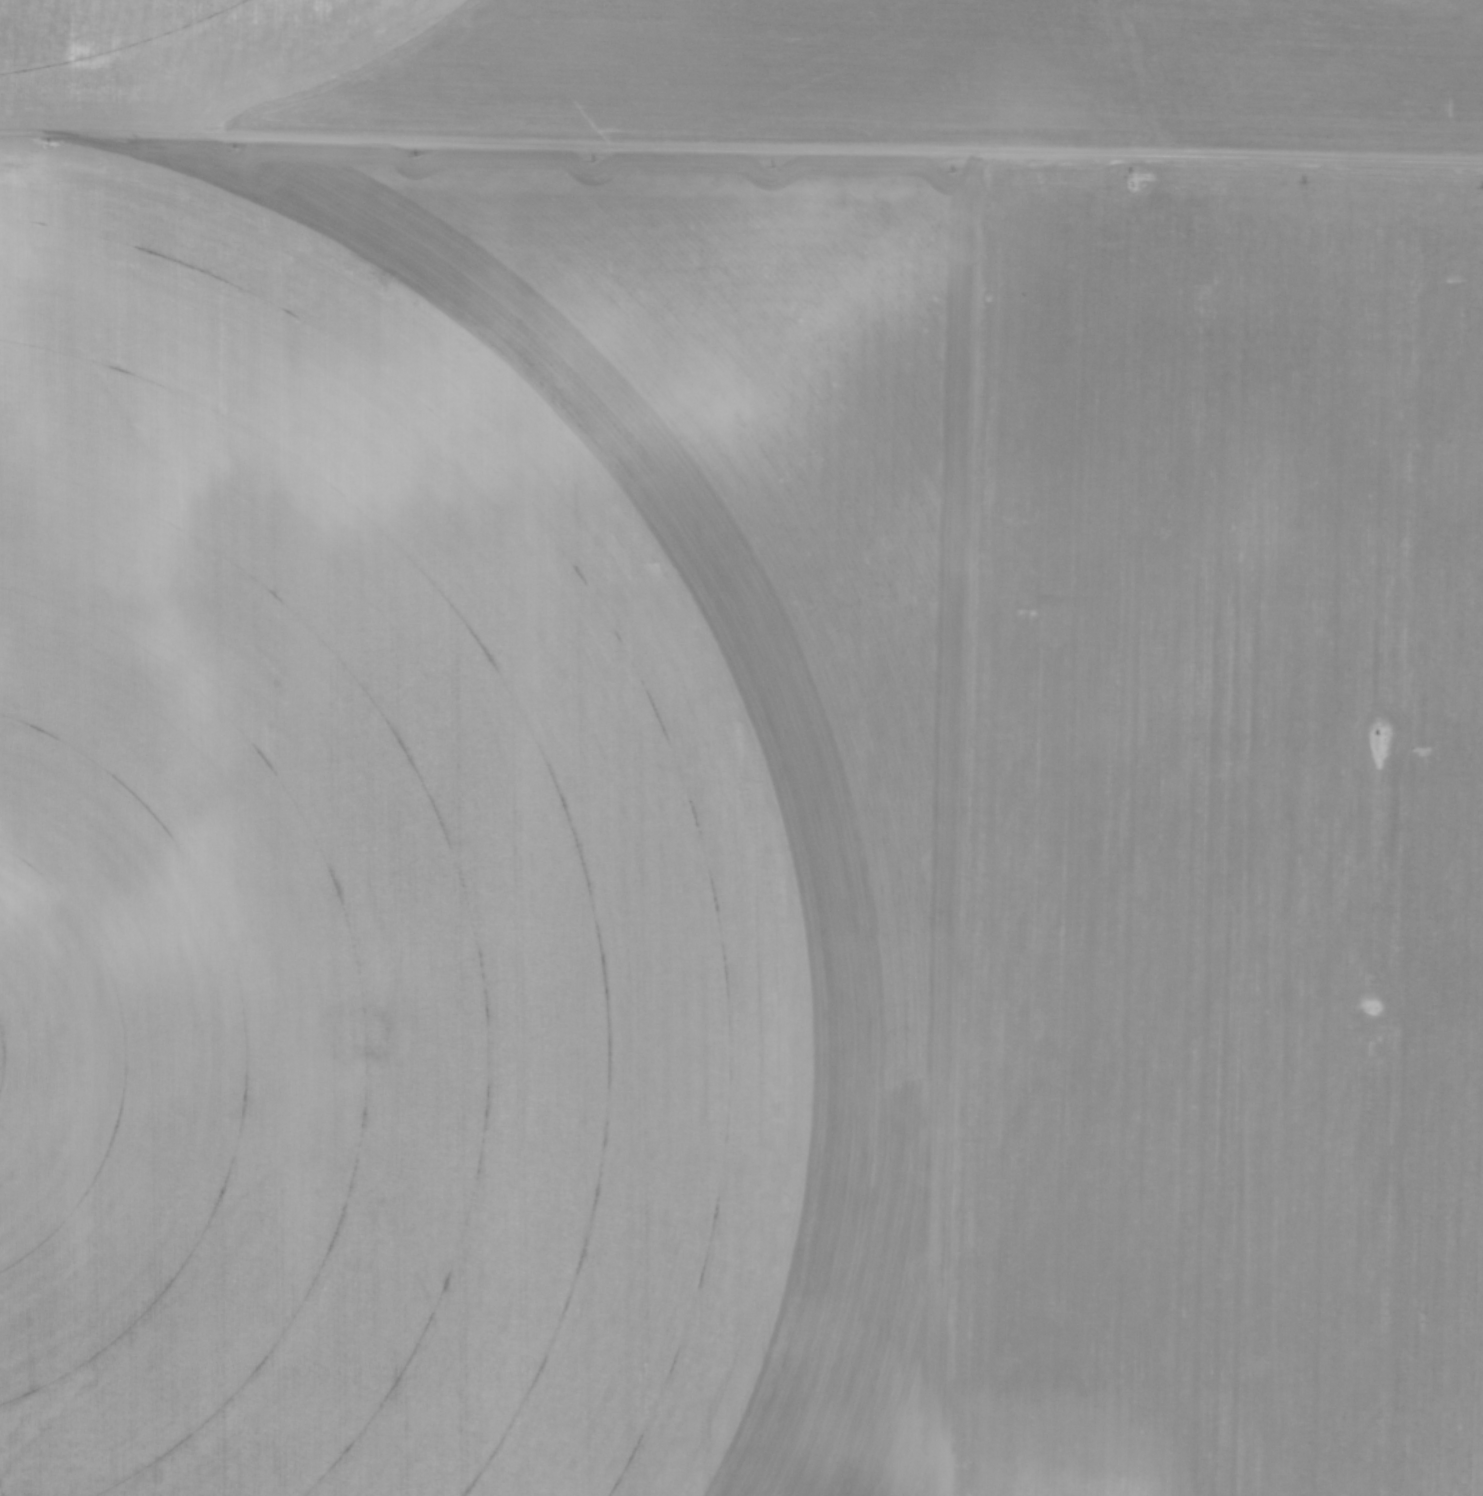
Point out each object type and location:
road: (1143, 80)
road: (1229, 159)
crop: (725, 809)

